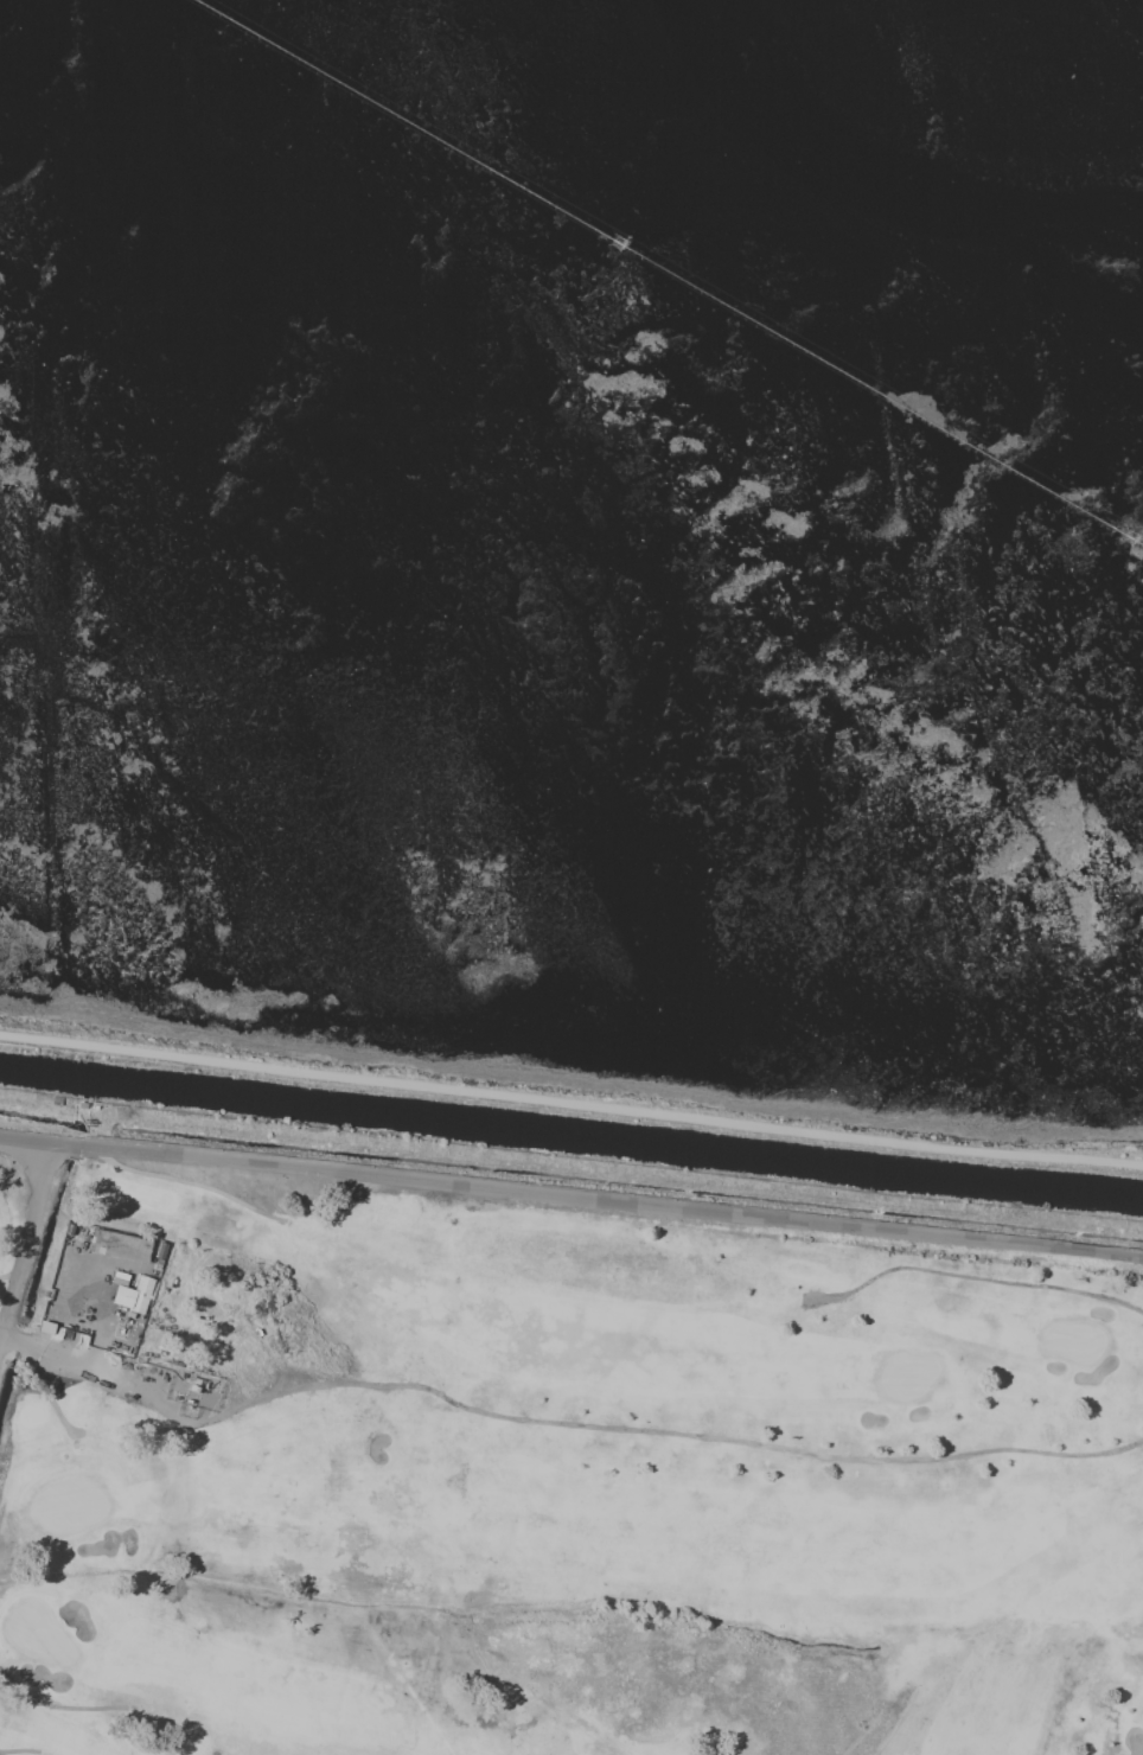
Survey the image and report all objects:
power tower: (620, 248)
pier: (668, 272)
power tower: (1129, 540)
road: (570, 1106)
road: (571, 1198)
road: (27, 1245)
building: (117, 1245)
building: (133, 1295)
park: (550, 1480)

